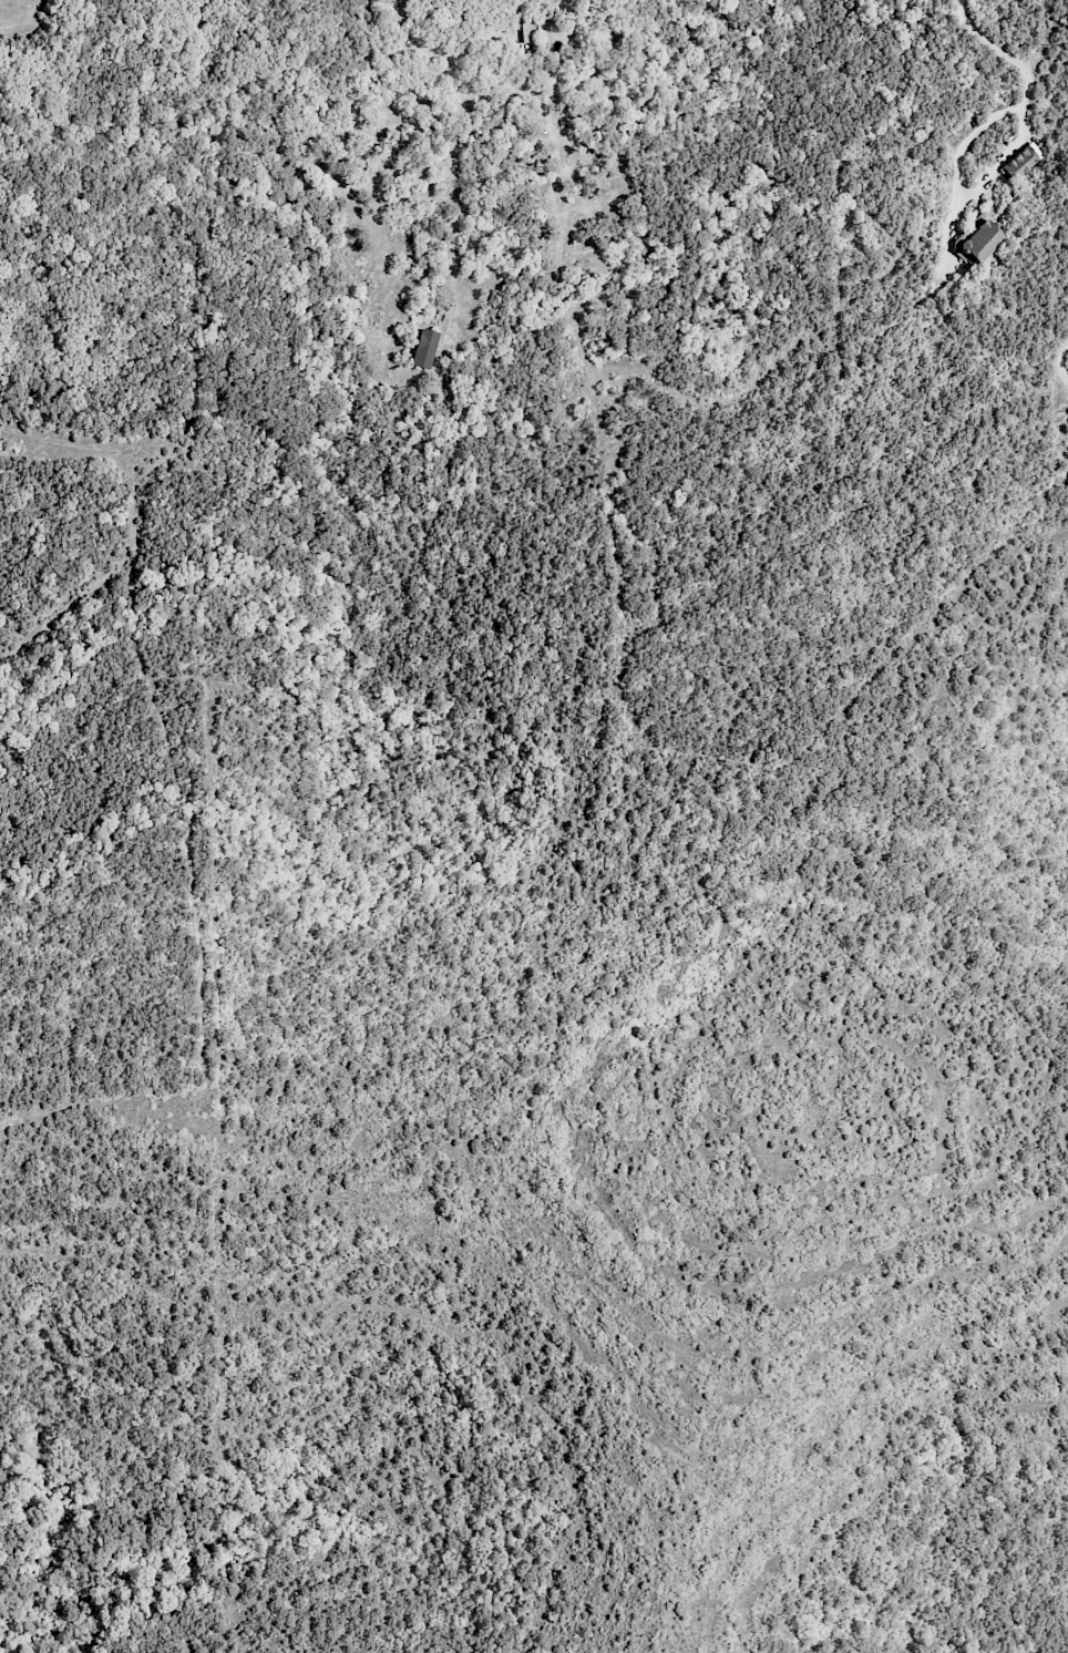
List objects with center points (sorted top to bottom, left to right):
building: (527, 30)
road: (1025, 69)
park: (145, 95)
building: (1020, 163)
building: (977, 239)
building: (424, 348)
road: (1059, 361)
road: (89, 444)
road: (94, 1101)

